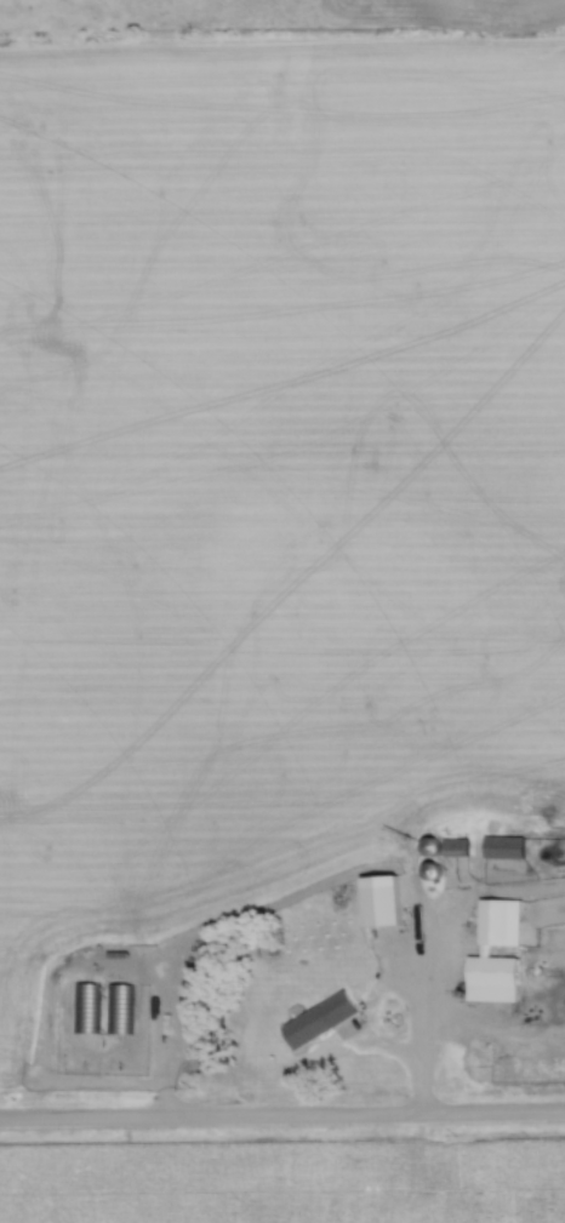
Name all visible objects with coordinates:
building: (452, 847)
building: (428, 870)
building: (375, 891)
building: (314, 1022)
road: (364, 1024)
road: (416, 1096)
road: (281, 1118)

